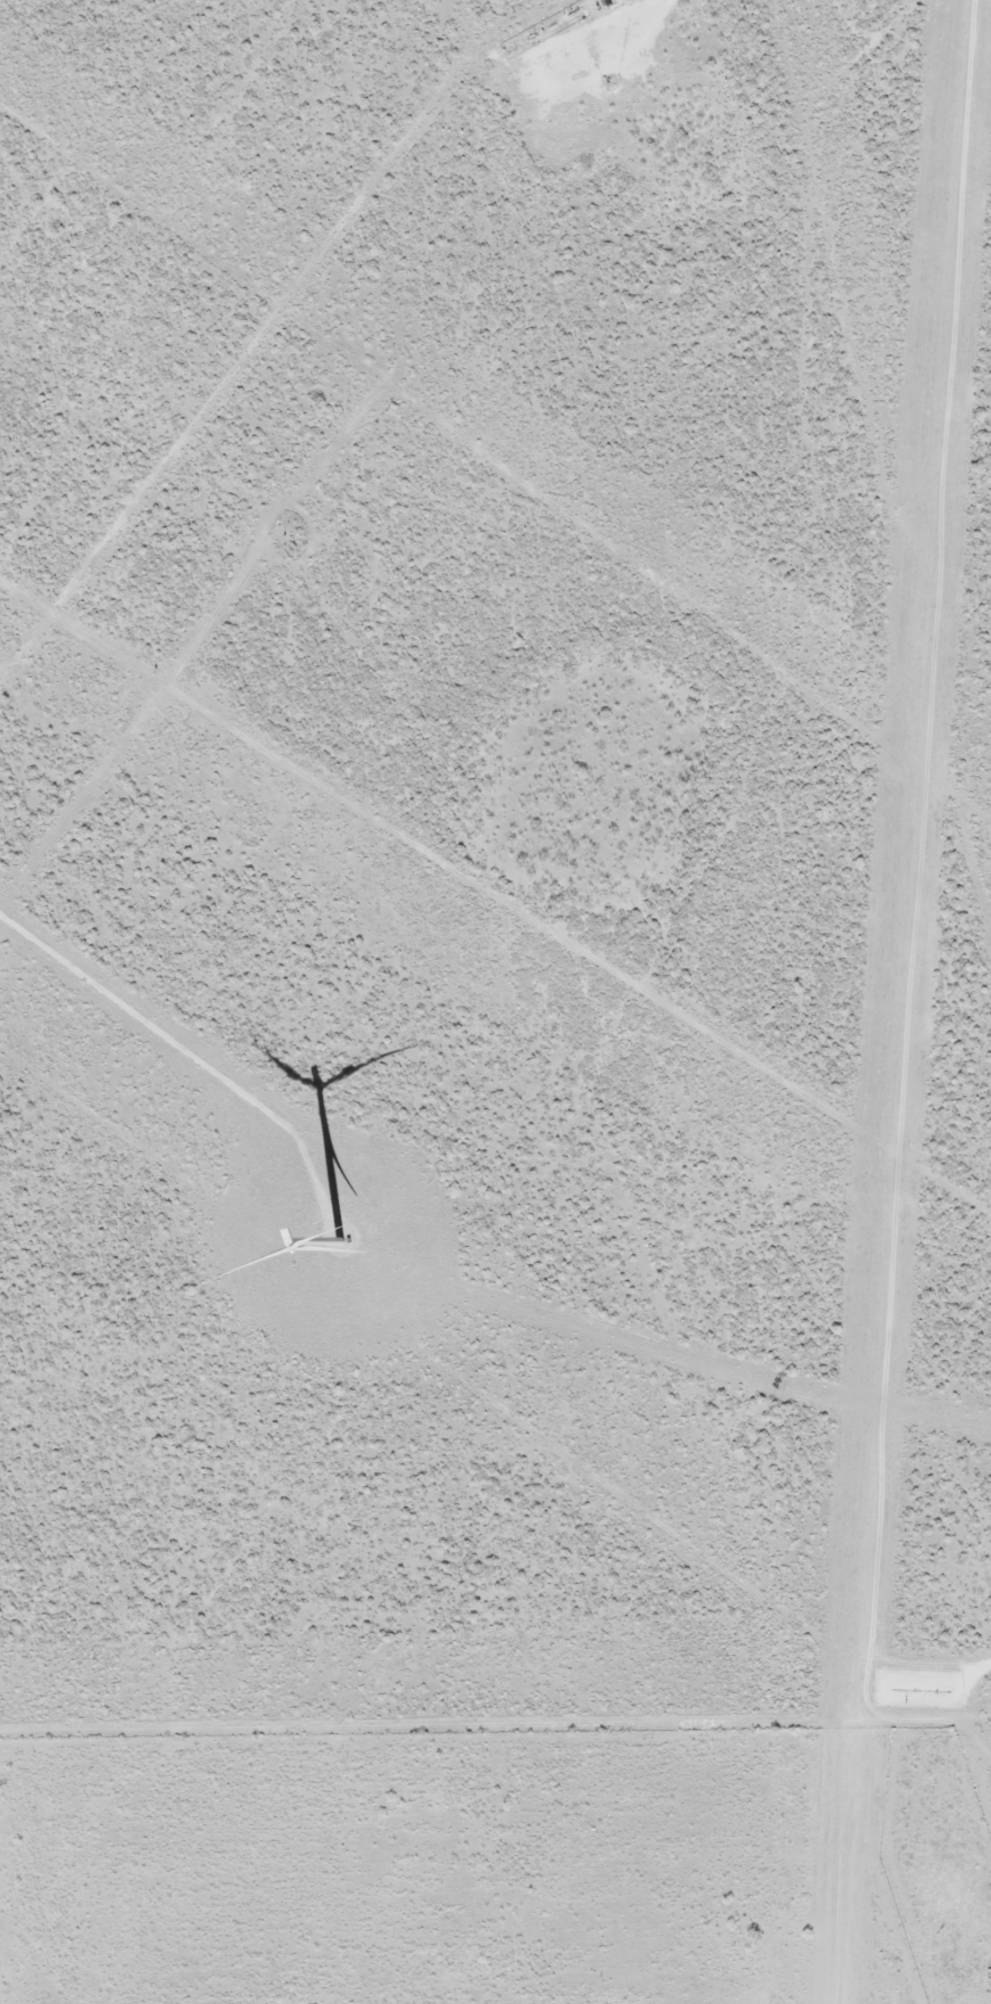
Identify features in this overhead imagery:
wind turbine: (334, 1254)

